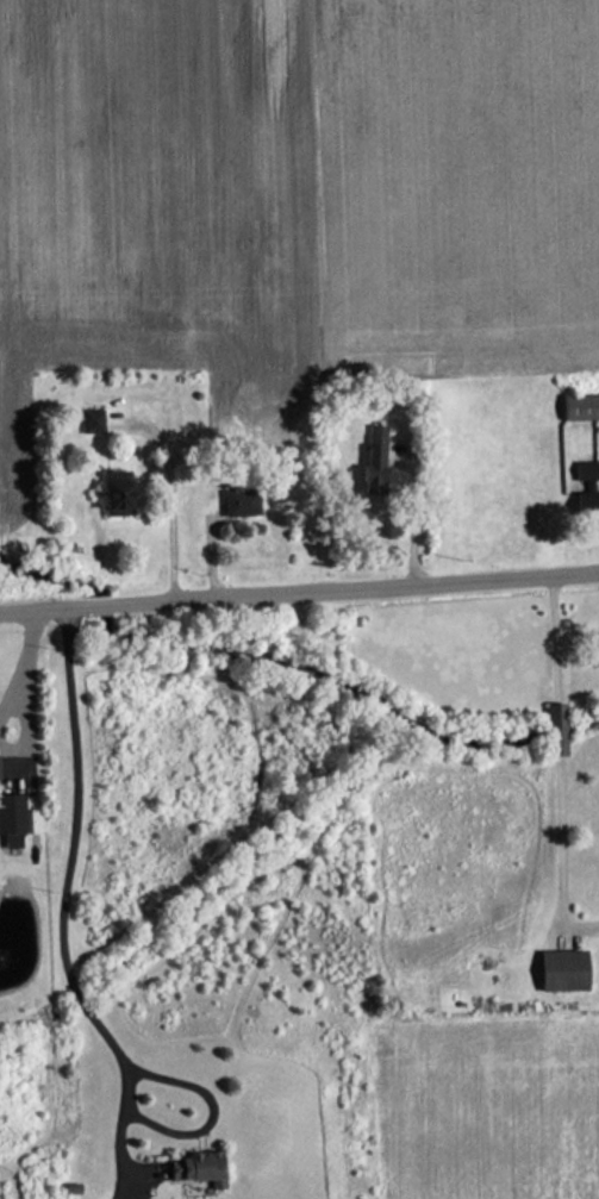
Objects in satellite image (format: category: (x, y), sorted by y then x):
crop: (448, 189)
crop: (150, 199)
building: (580, 407)
building: (119, 495)
road: (173, 500)
building: (241, 502)
road: (413, 510)
road: (299, 592)
road: (38, 632)
road: (555, 638)
road: (555, 727)
road: (18, 756)
building: (11, 814)
road: (81, 847)
road: (560, 853)
building: (563, 970)
road: (220, 1109)
crop: (491, 1111)
road: (130, 1136)
road: (158, 1168)
building: (198, 1168)

